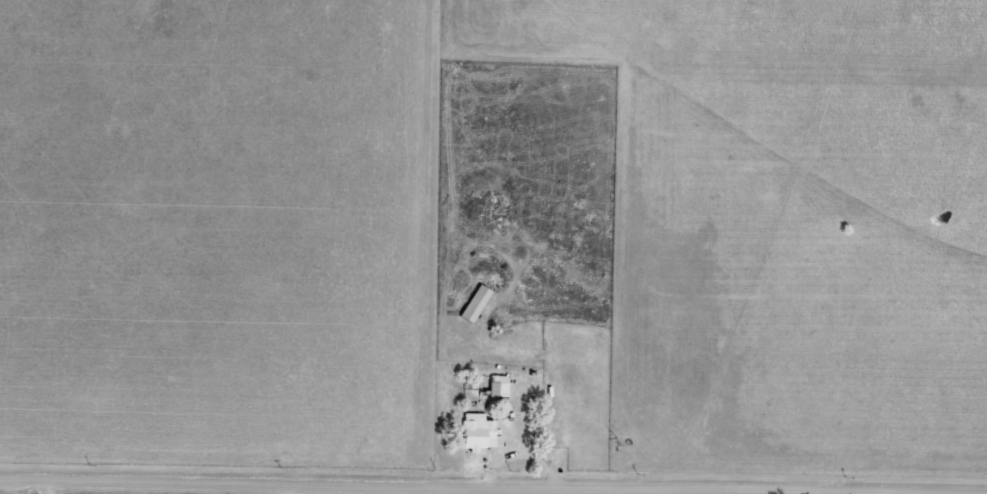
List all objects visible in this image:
building: (477, 304)
road: (365, 488)

